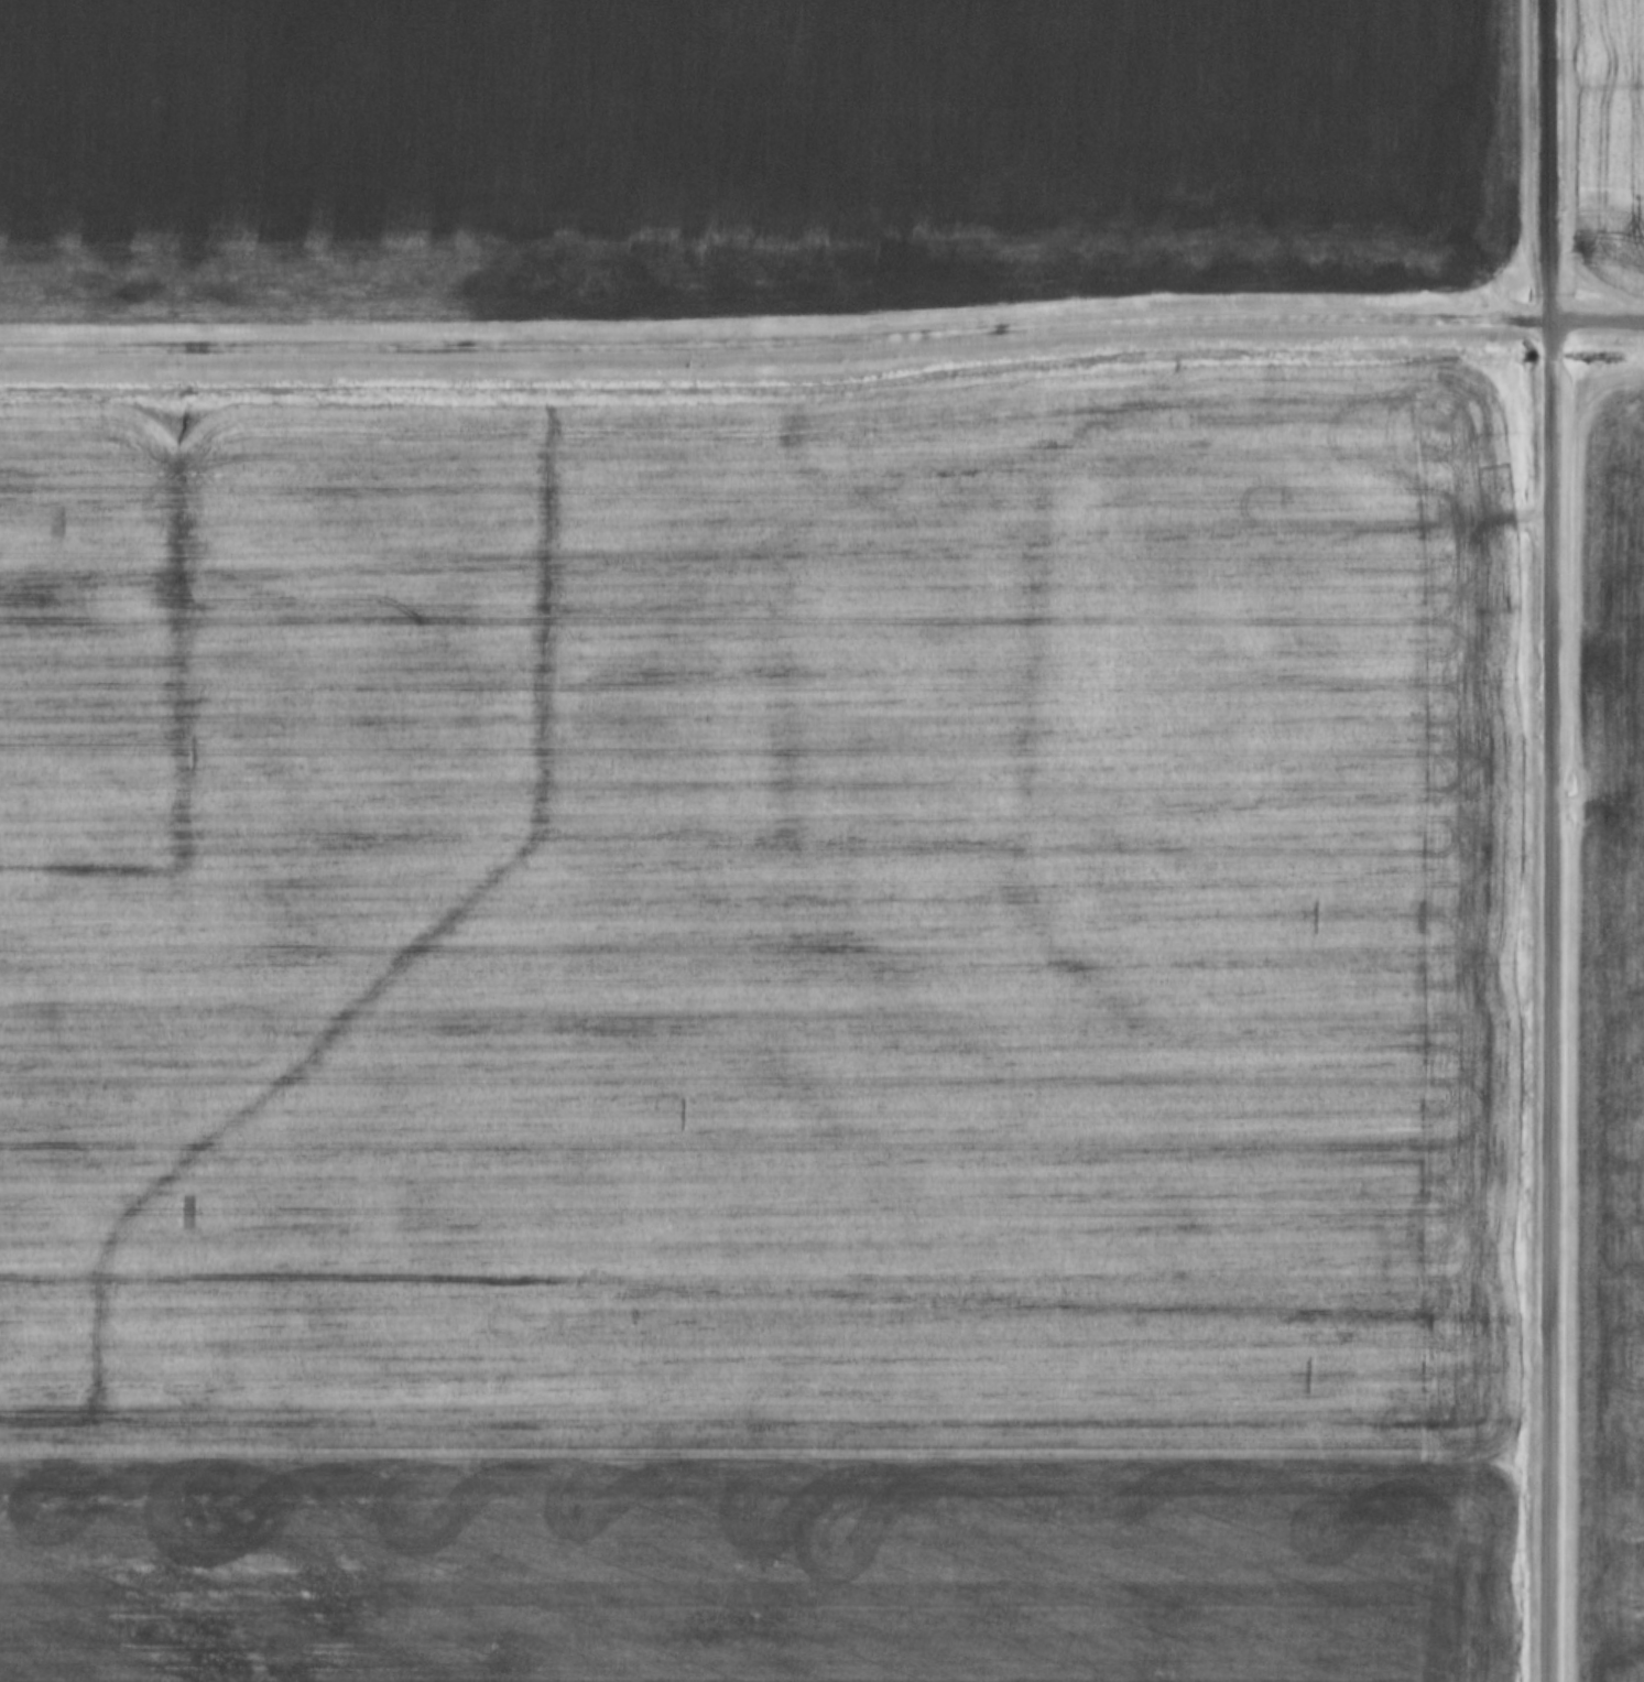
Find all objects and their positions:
road: (1599, 321)
road: (777, 348)
road: (1553, 840)

